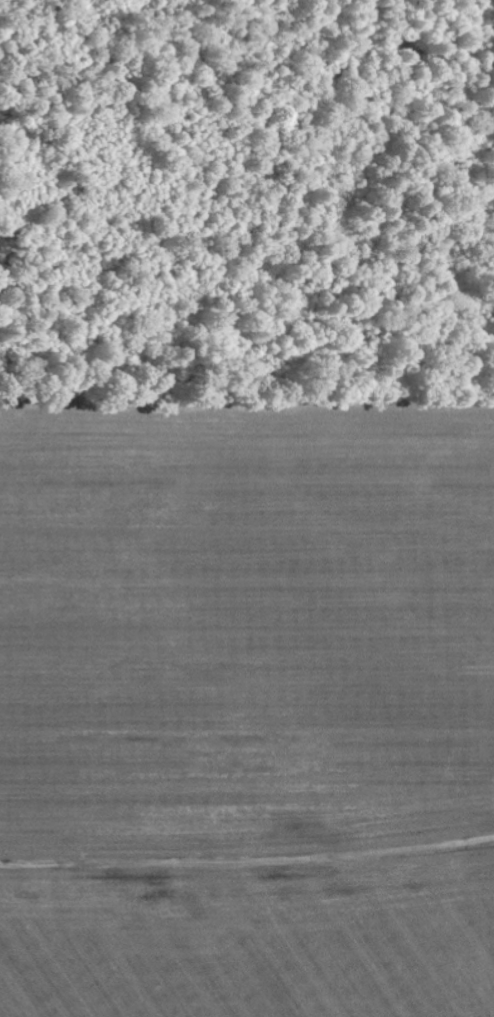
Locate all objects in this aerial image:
road: (247, 861)

